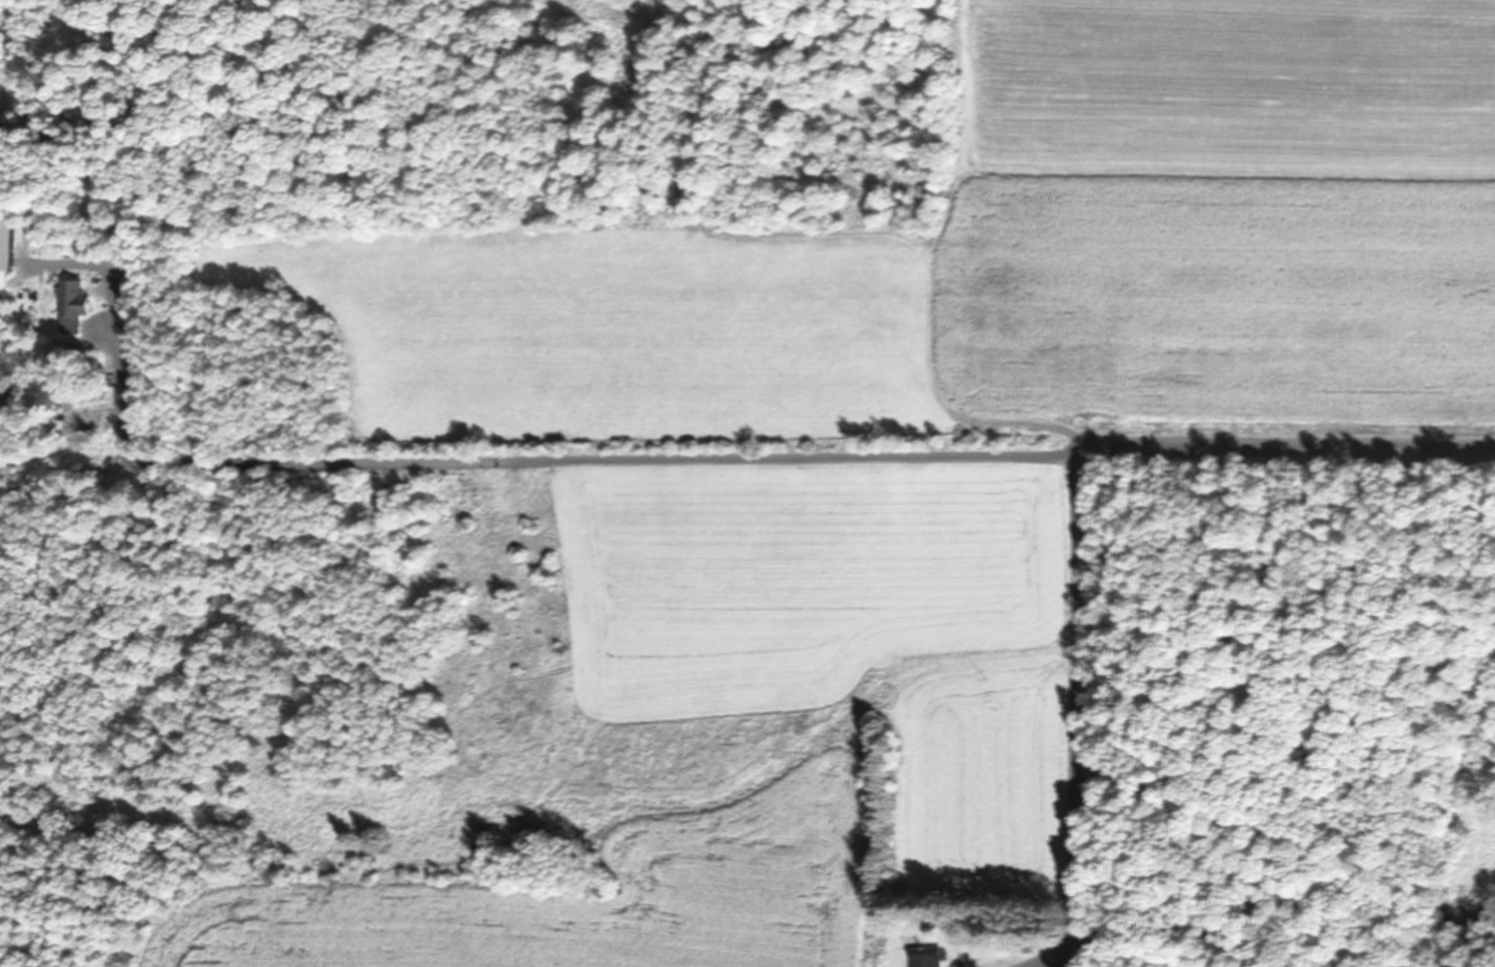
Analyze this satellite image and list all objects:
building: (6, 258)
building: (75, 306)
road: (1293, 447)
crop: (897, 465)
building: (927, 957)

